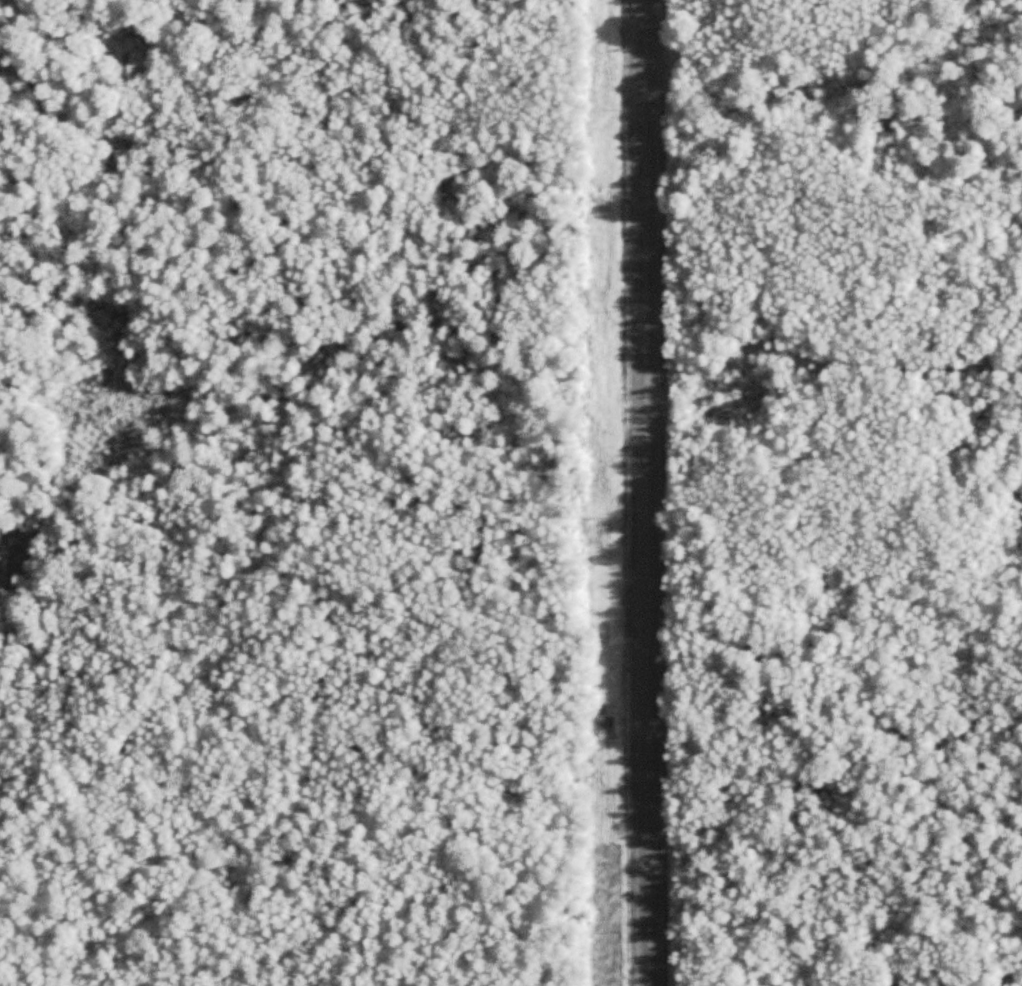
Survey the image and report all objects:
road: (641, 493)

